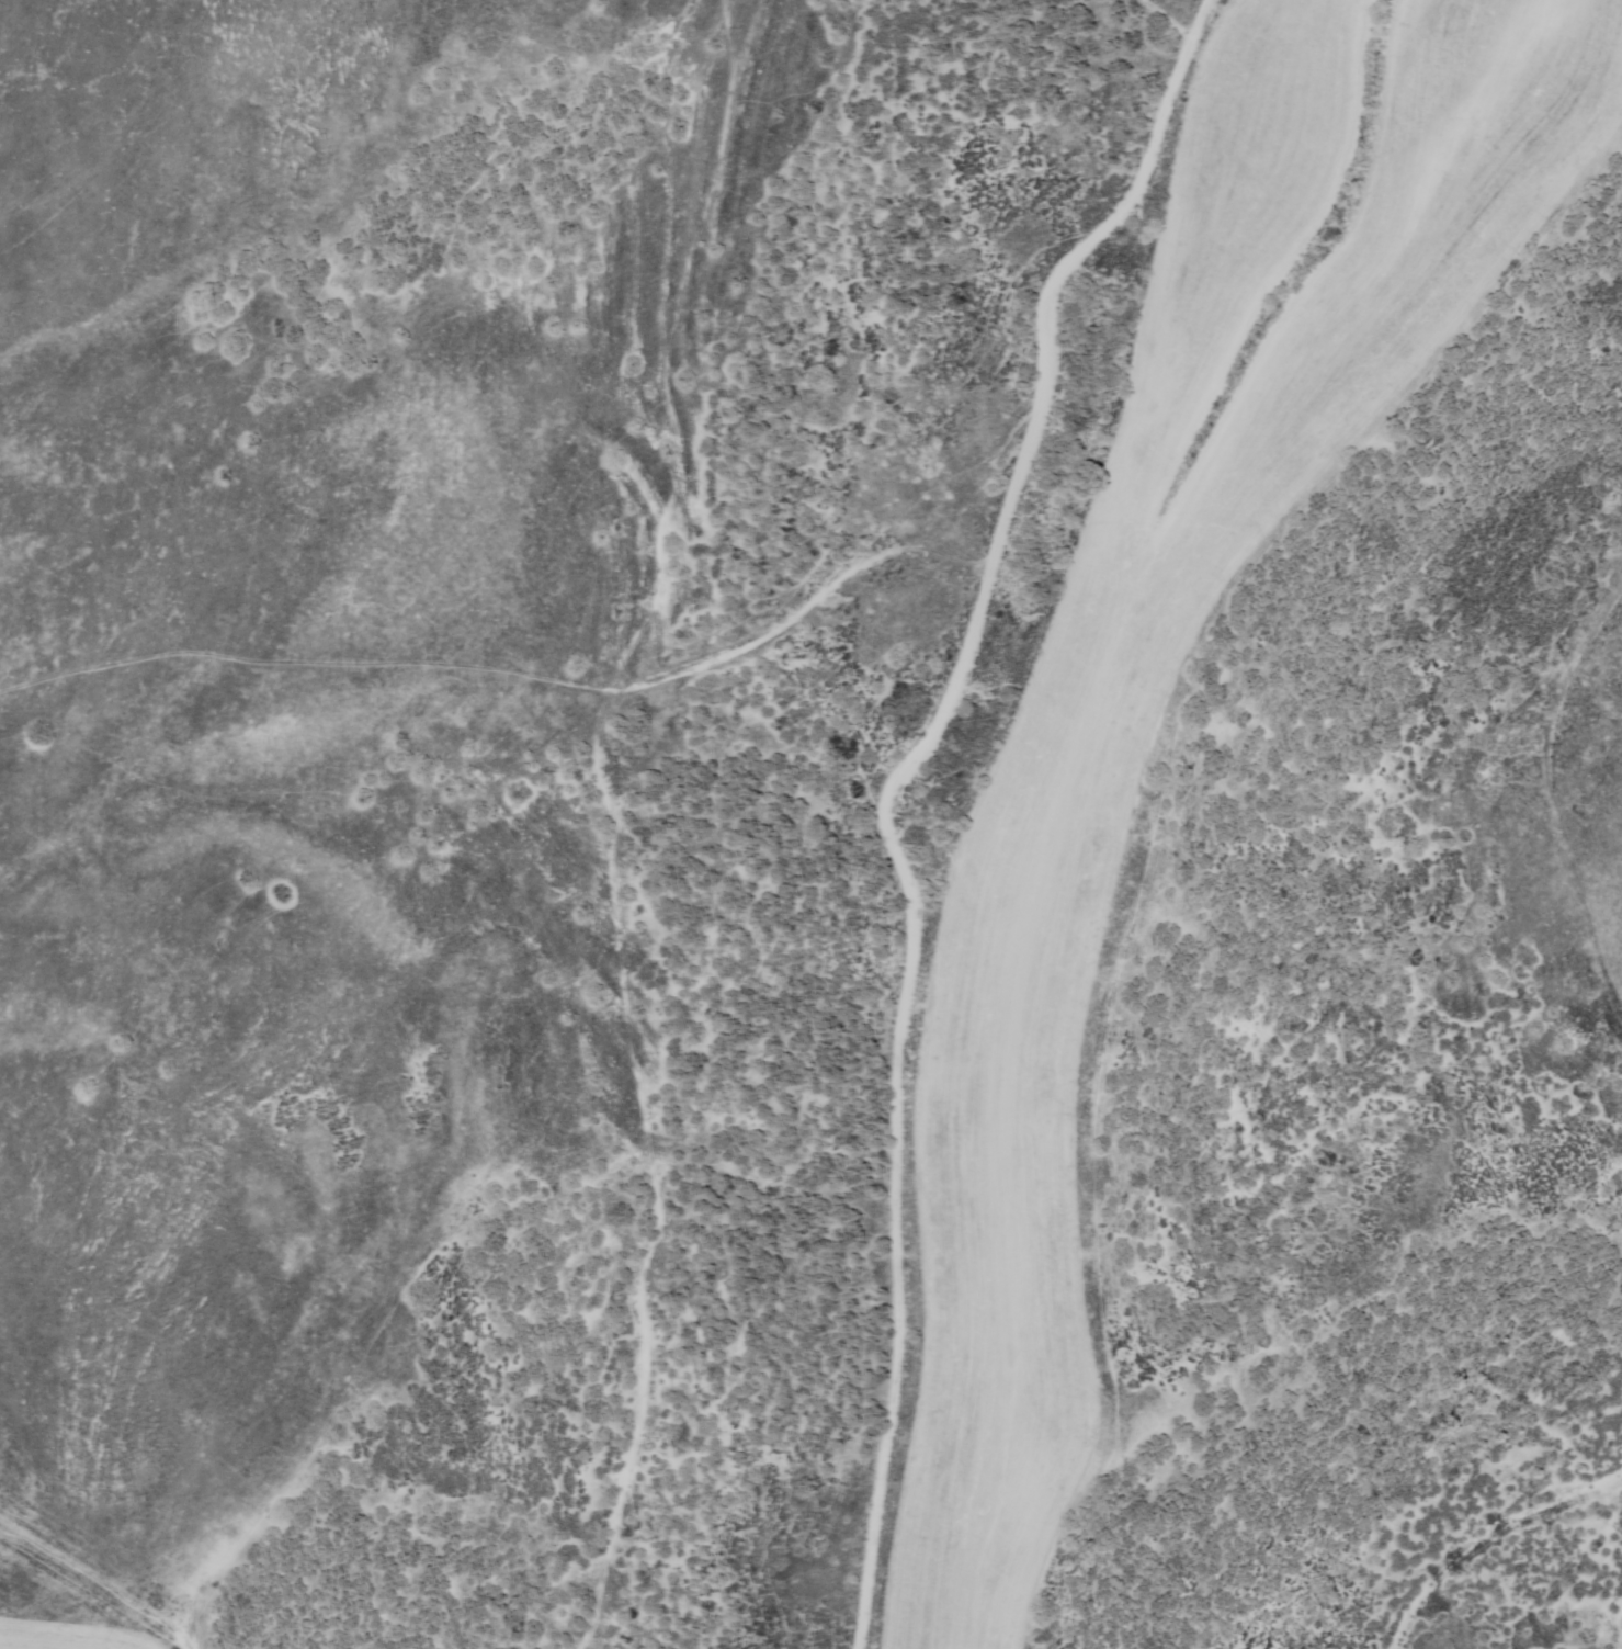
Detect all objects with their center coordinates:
road: (907, 803)

